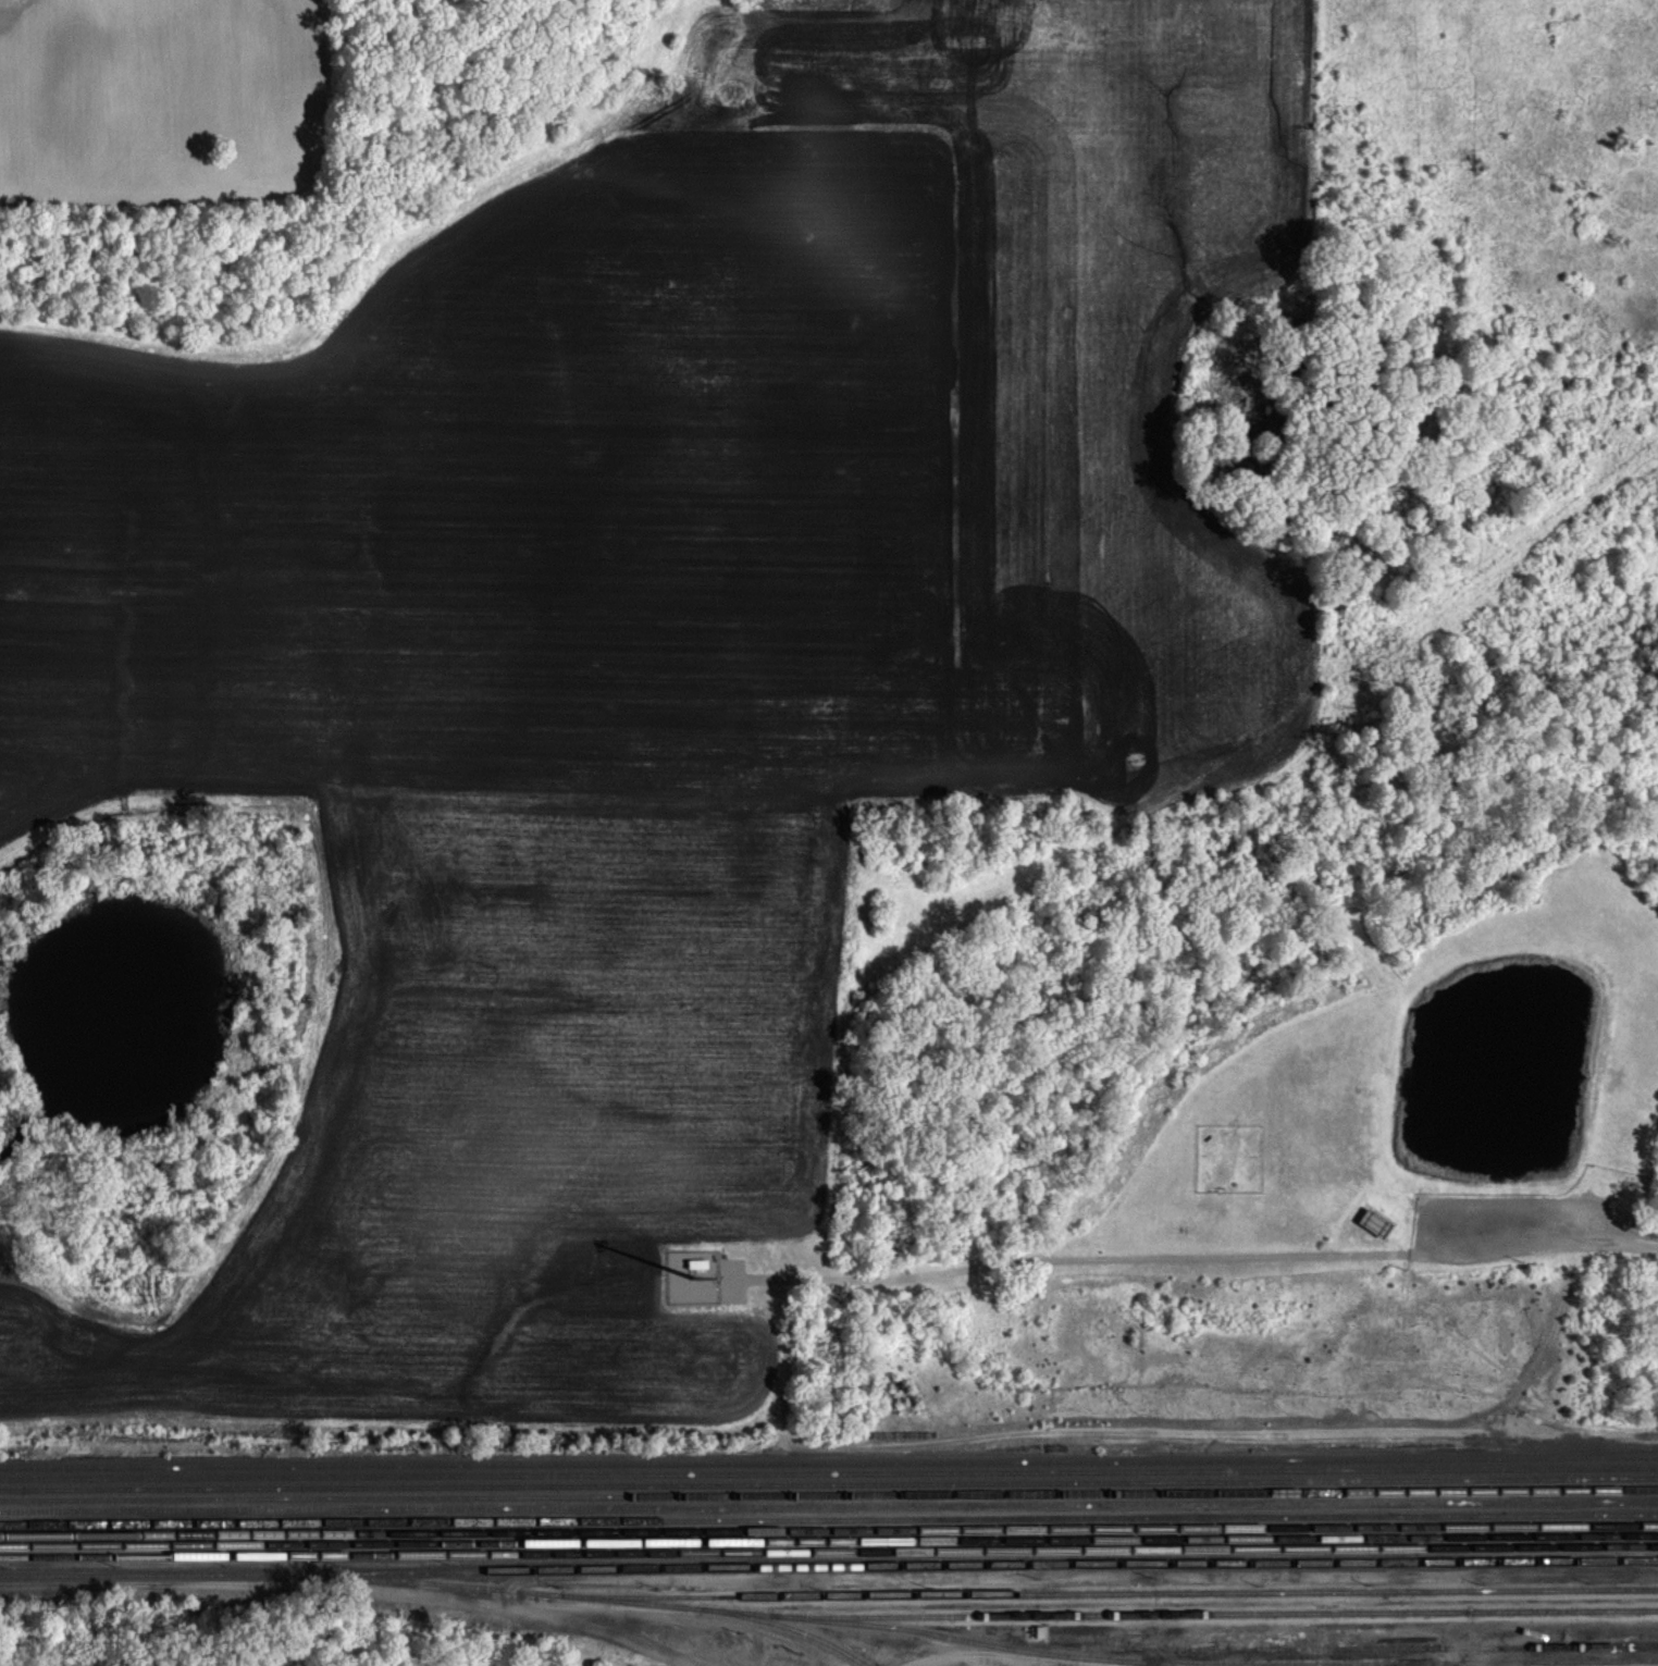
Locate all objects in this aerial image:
road: (1623, 1241)
railway: (1498, 1458)
railway: (669, 1466)
railway: (1499, 1470)
railway: (670, 1479)
railway: (1499, 1480)
railway: (670, 1488)
railway: (828, 1495)
railway: (828, 1507)
railway: (829, 1521)
railway: (829, 1534)
railway: (829, 1542)
railway: (828, 1553)
railway: (828, 1568)
road: (346, 1587)
railway: (1110, 1594)
railway: (1217, 1615)
railway: (789, 1627)
railway: (988, 1643)
railway: (1365, 1649)
road: (991, 1656)
railway: (1422, 1665)

